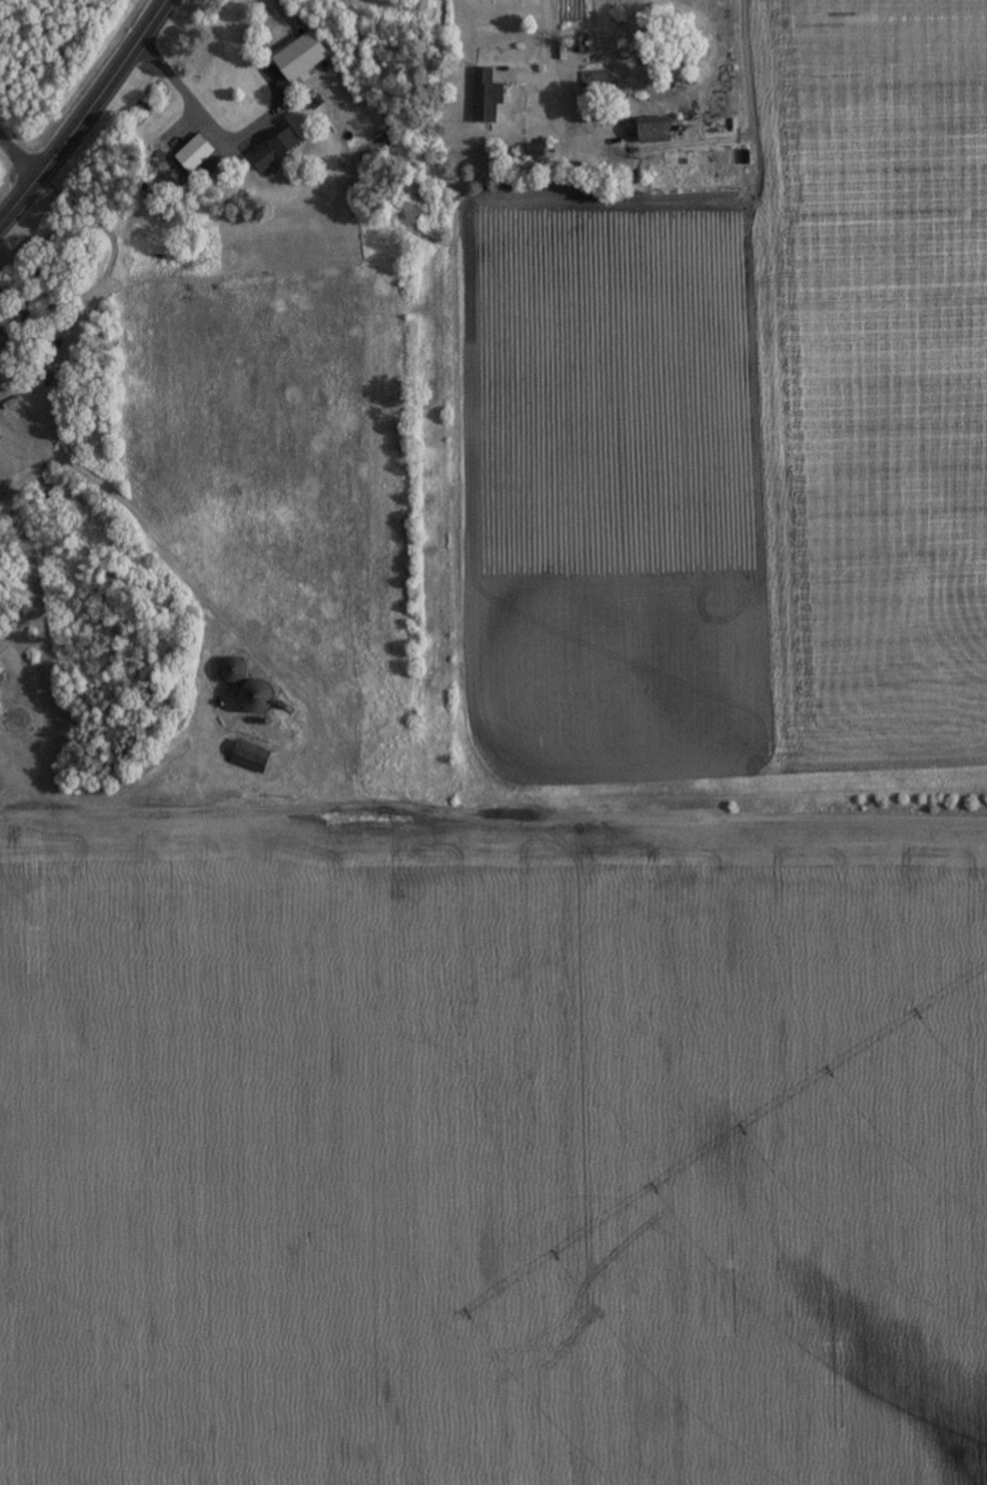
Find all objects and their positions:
road: (549, 55)
building: (486, 96)
road: (187, 103)
road: (87, 117)
road: (22, 131)
building: (655, 137)
building: (276, 150)
building: (536, 151)
building: (196, 154)
building: (233, 670)
building: (1, 679)
building: (257, 699)
building: (250, 757)
road: (425, 805)

